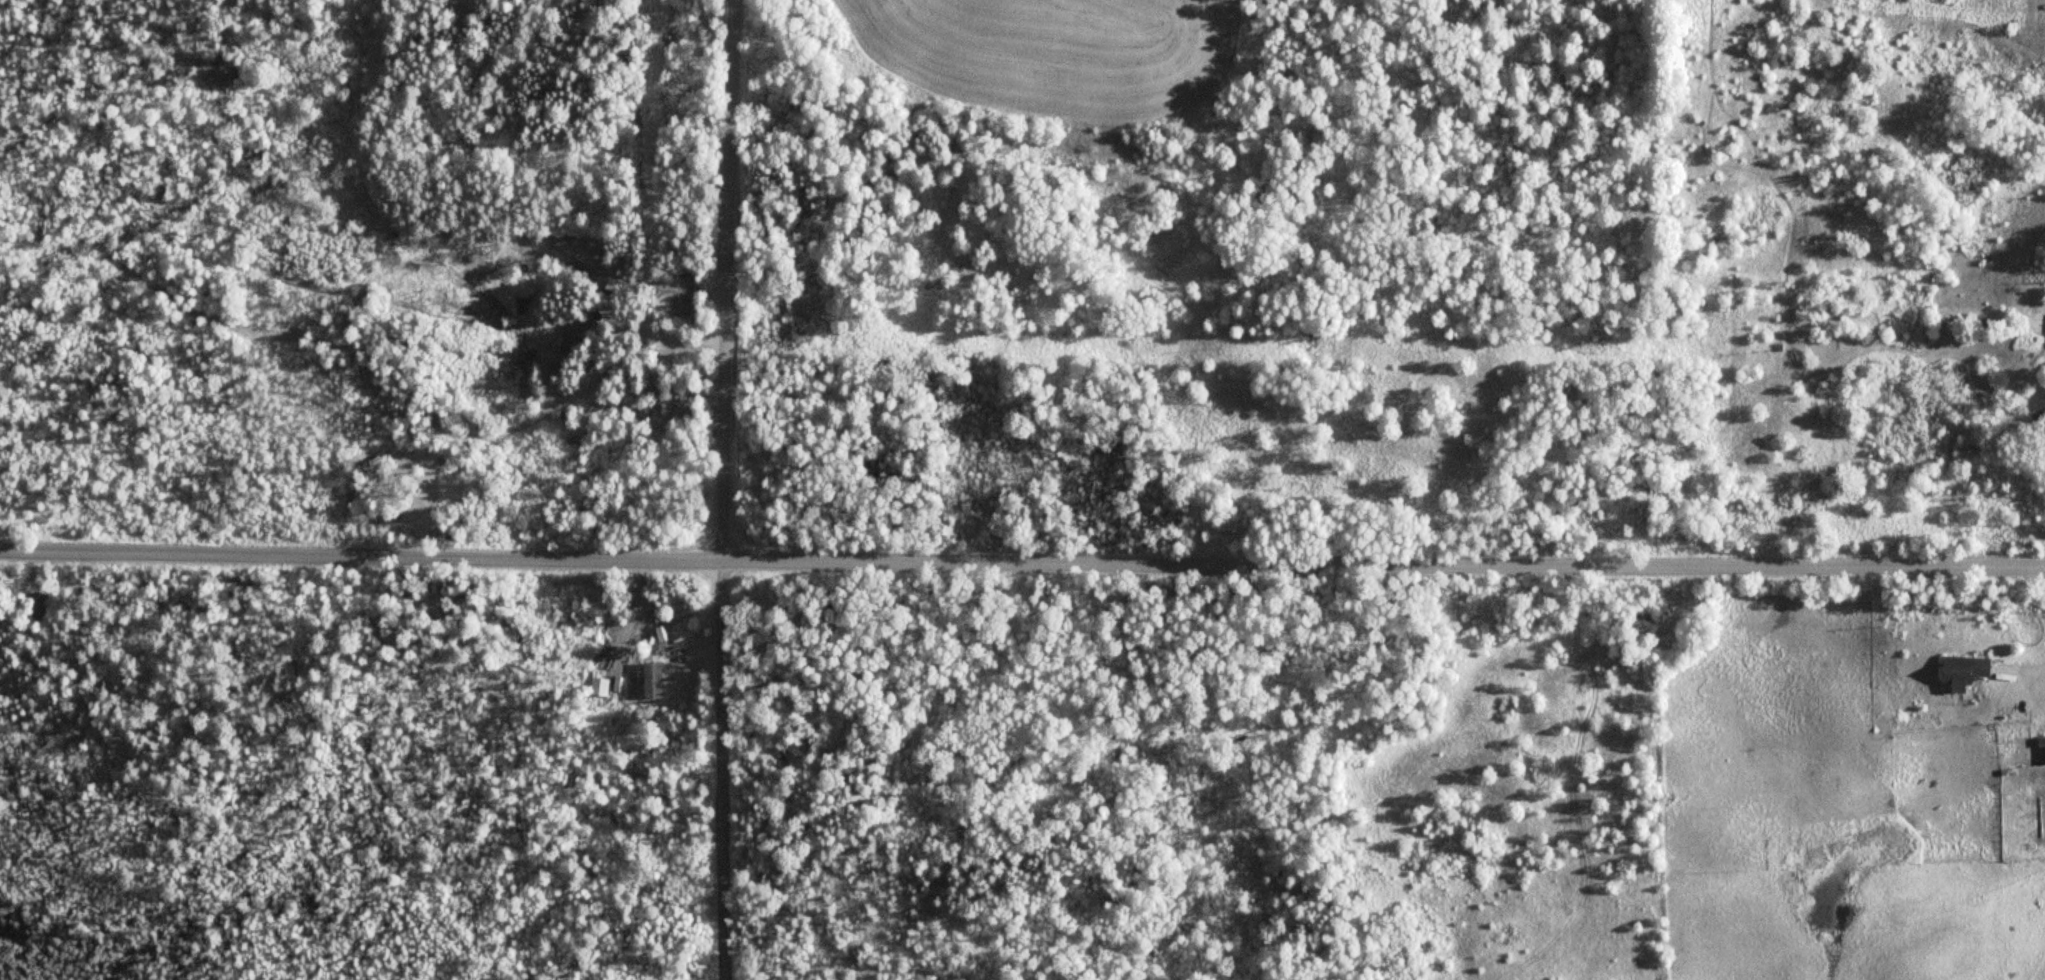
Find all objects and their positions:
building: (509, 243)
building: (580, 334)
building: (656, 392)
road: (725, 489)
road: (1022, 557)
building: (39, 605)
building: (1964, 669)
building: (652, 678)
building: (599, 685)

